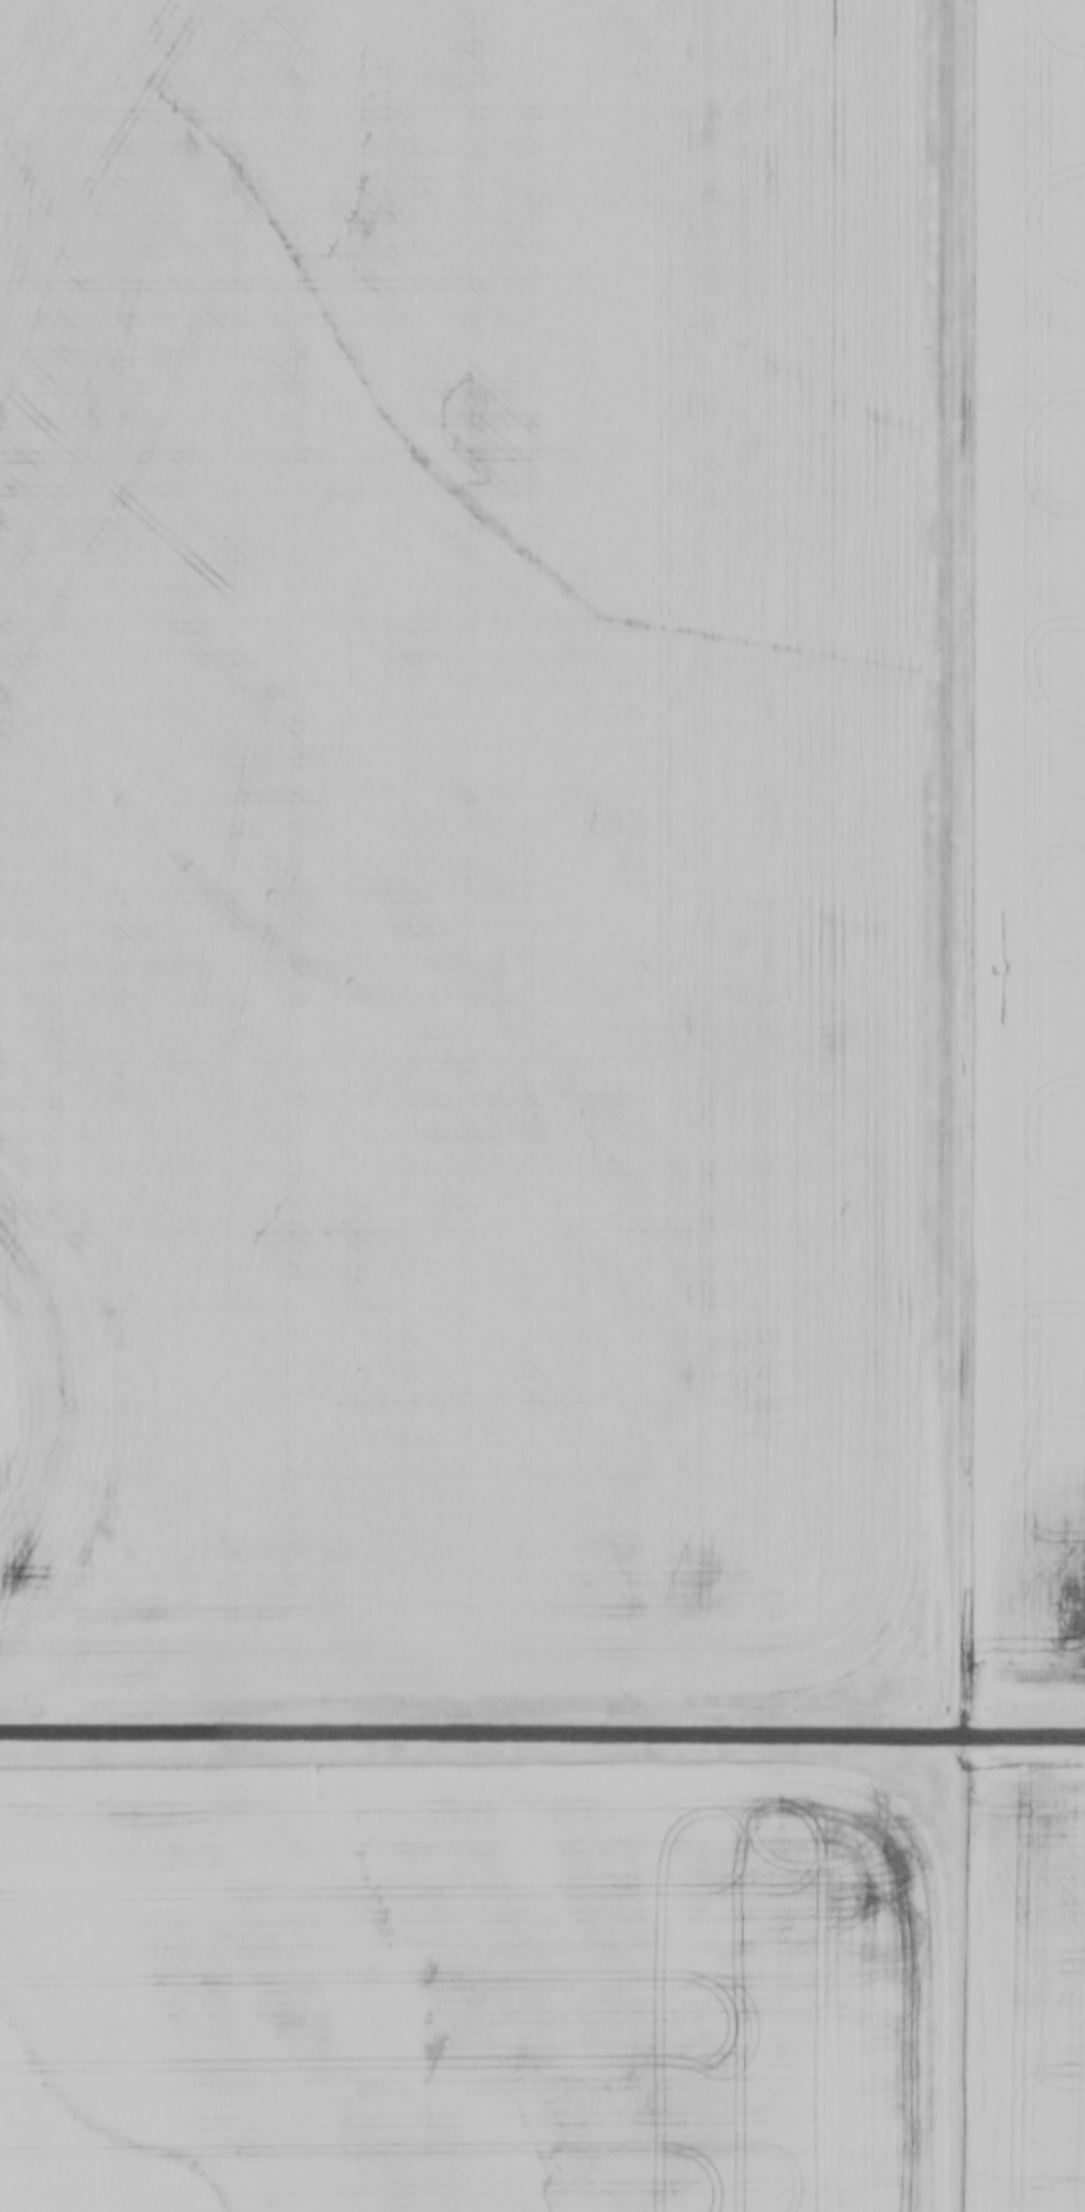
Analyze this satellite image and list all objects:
road: (943, 1106)

